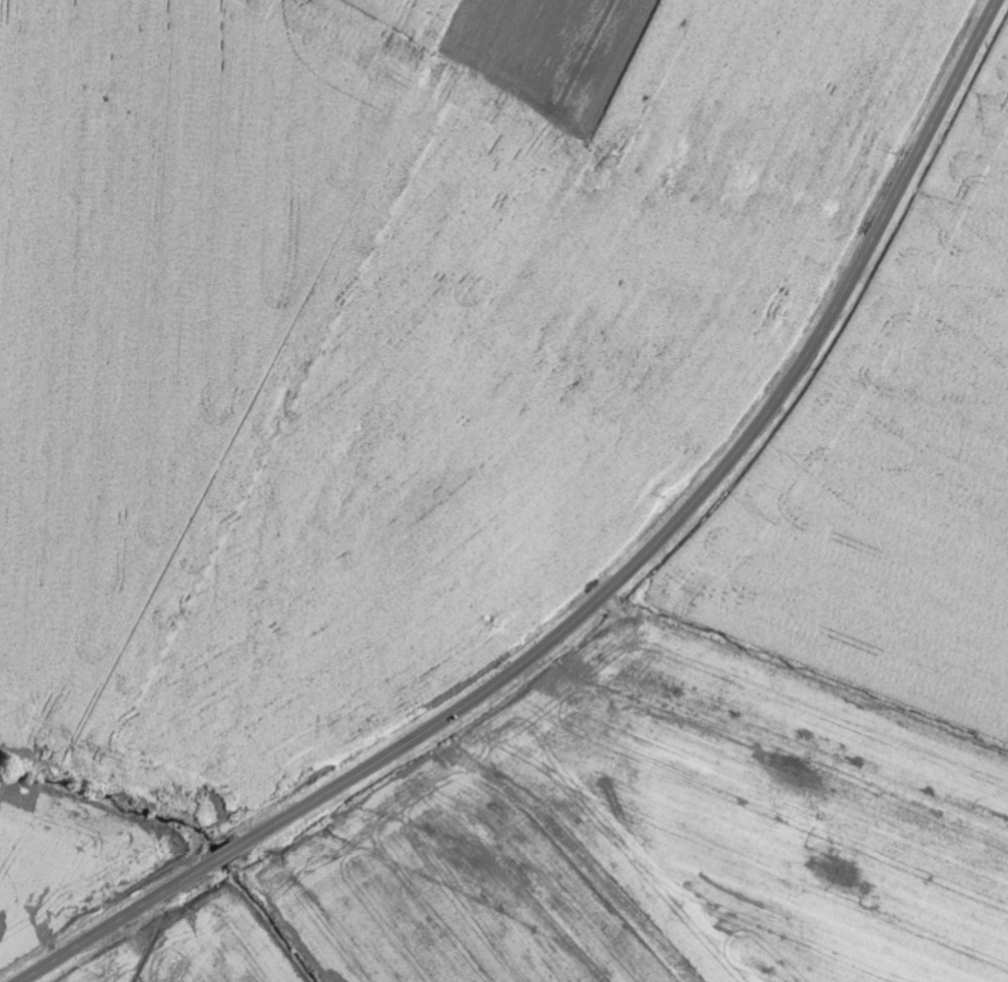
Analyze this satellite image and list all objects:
road: (609, 586)

